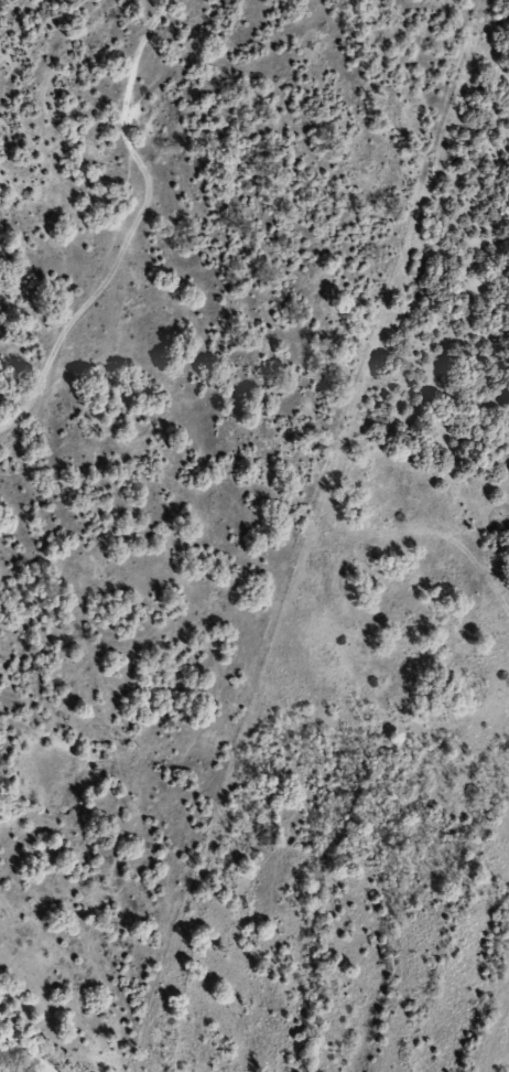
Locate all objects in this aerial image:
road: (19, 1058)

